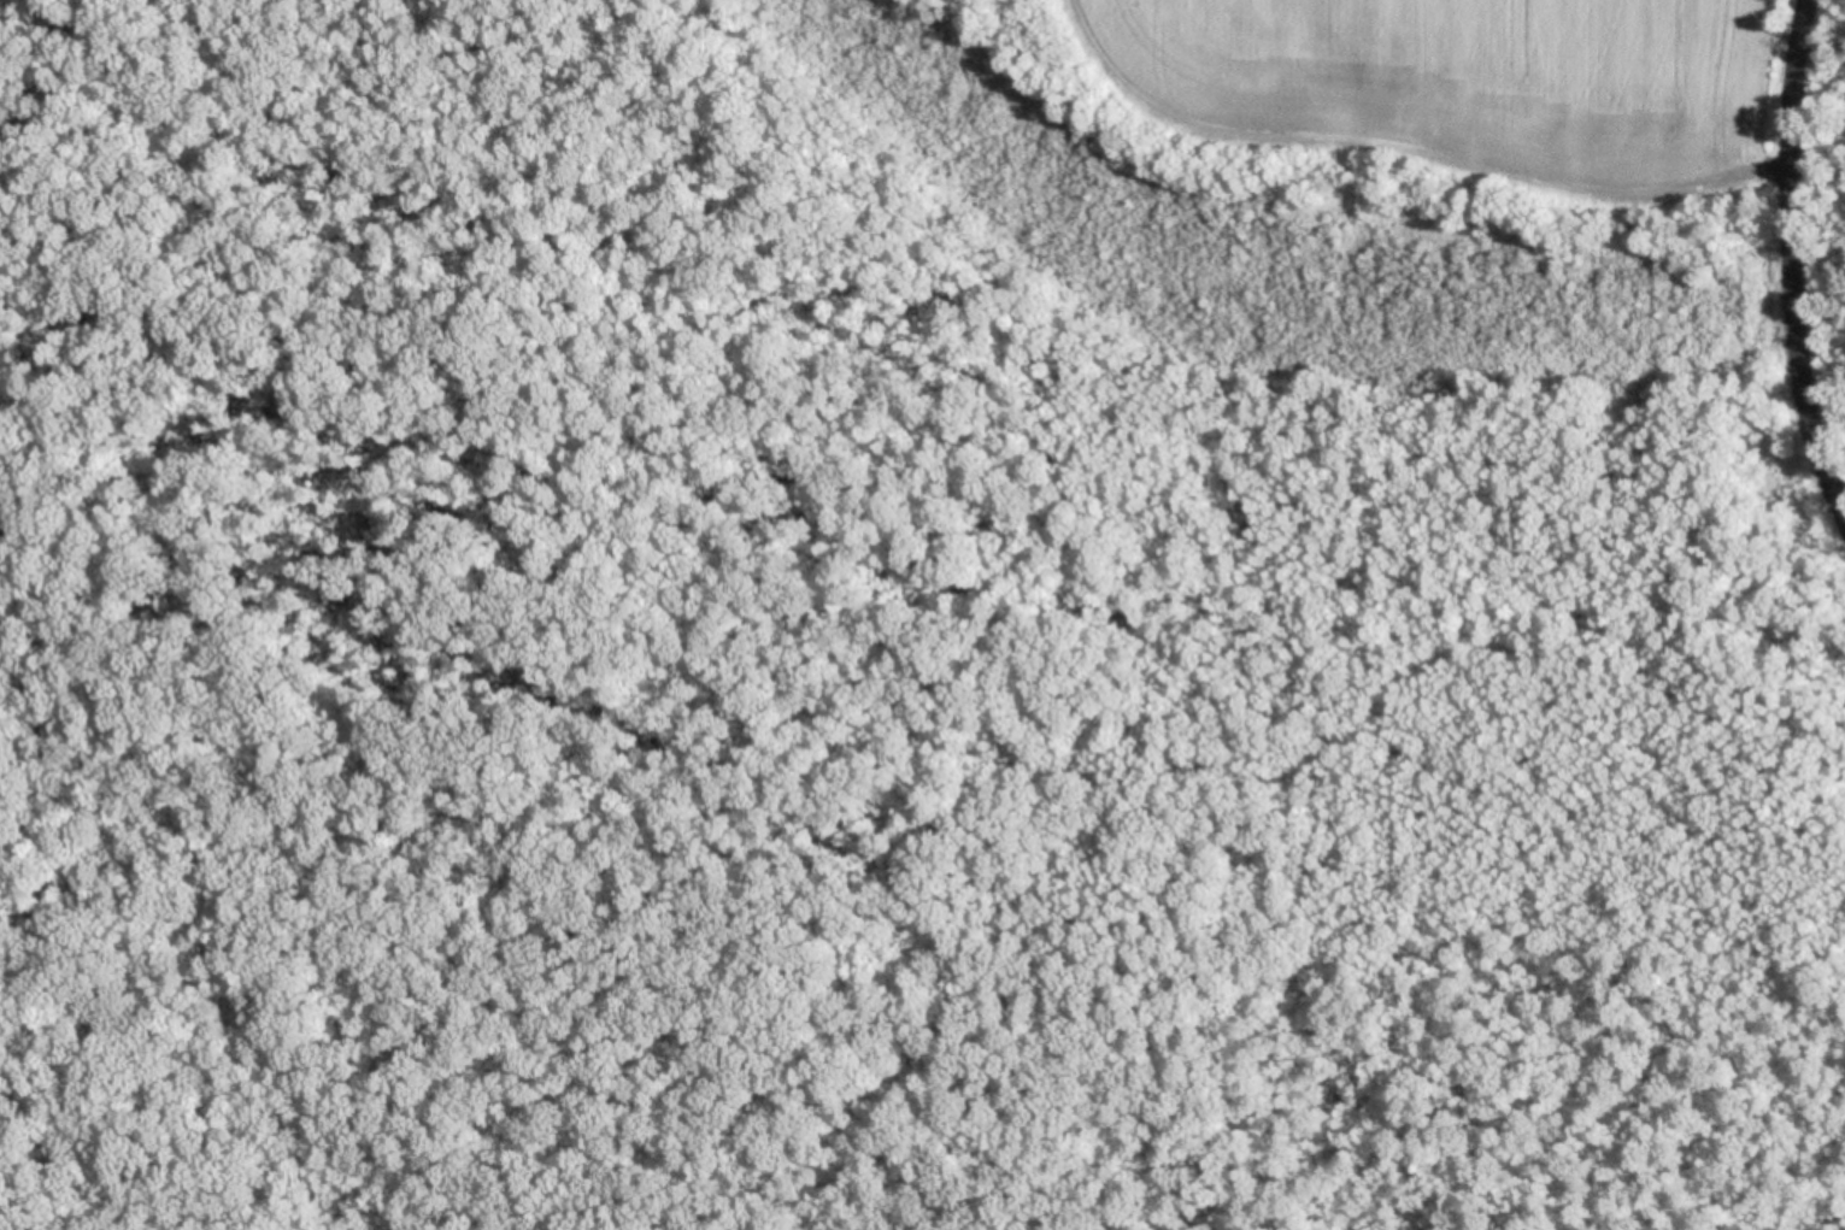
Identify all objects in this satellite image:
road: (1794, 242)

